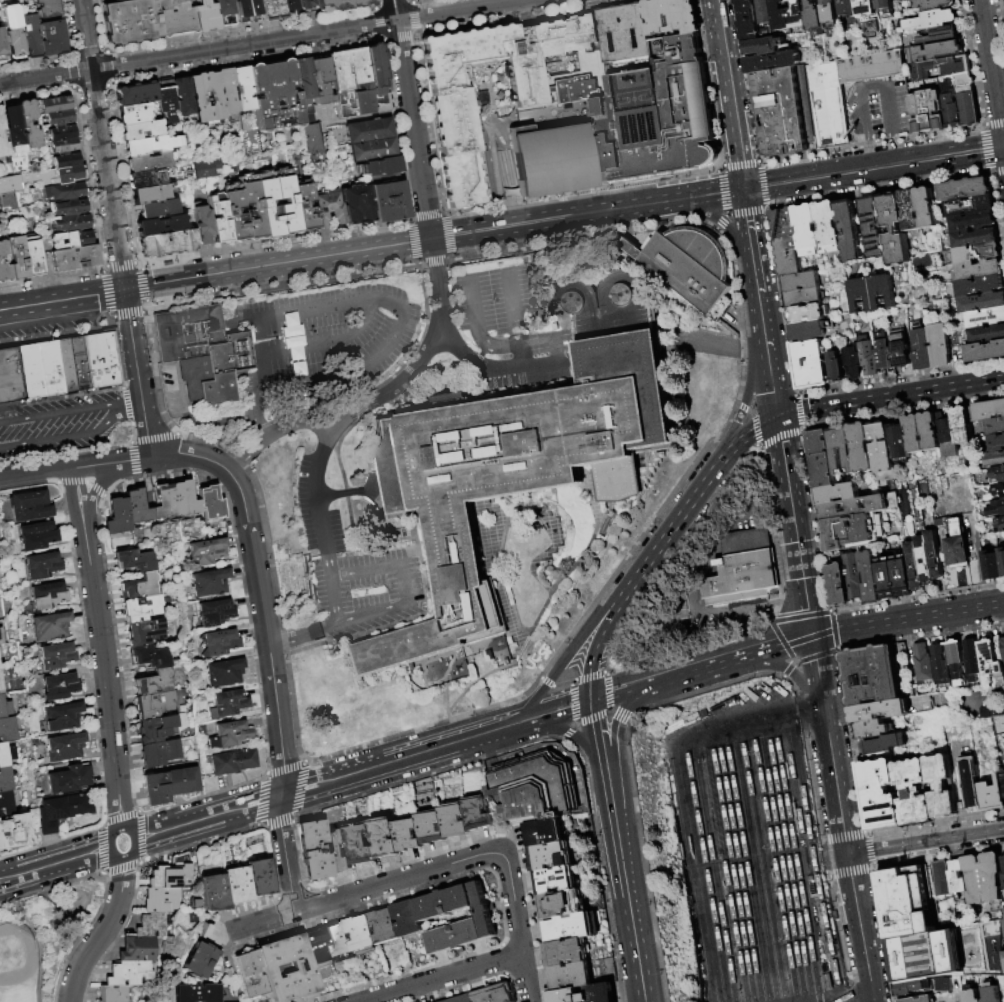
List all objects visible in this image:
road: (93, 2)
building: (304, 4)
building: (339, 4)
building: (928, 4)
building: (289, 7)
building: (847, 8)
building: (865, 8)
building: (886, 8)
building: (46, 9)
building: (270, 9)
building: (247, 10)
road: (394, 10)
road: (460, 10)
building: (223, 12)
building: (764, 12)
building: (831, 13)
building: (203, 15)
building: (789, 15)
building: (174, 16)
building: (672, 16)
building: (815, 17)
building: (931, 19)
building: (748, 20)
building: (130, 21)
road: (236, 23)
building: (12, 31)
building: (626, 34)
building: (29, 35)
building: (938, 36)
building: (51, 38)
building: (2, 46)
building: (762, 47)
road: (197, 52)
building: (933, 52)
building: (772, 62)
building: (954, 67)
building: (872, 68)
building: (922, 71)
road: (992, 75)
building: (378, 78)
road: (726, 78)
building: (320, 80)
building: (964, 80)
building: (302, 81)
building: (351, 83)
road: (871, 83)
building: (243, 90)
building: (227, 91)
building: (136, 95)
building: (274, 96)
building: (183, 97)
building: (205, 98)
building: (54, 105)
building: (829, 105)
building: (166, 106)
building: (952, 106)
building: (969, 106)
parking lot: (878, 107)
road: (887, 108)
building: (925, 109)
building: (782, 110)
road: (863, 111)
building: (133, 113)
building: (674, 117)
building: (59, 118)
building: (23, 124)
building: (937, 124)
road: (413, 129)
building: (141, 130)
building: (12, 132)
building: (61, 133)
building: (458, 133)
building: (2, 139)
building: (312, 139)
building: (370, 140)
traffic signals: (1003, 145)
building: (63, 146)
building: (150, 146)
road: (893, 148)
road: (870, 151)
building: (606, 159)
building: (65, 161)
building: (550, 161)
building: (148, 162)
road: (873, 165)
building: (379, 167)
building: (202, 168)
road: (740, 172)
building: (60, 176)
building: (147, 178)
building: (17, 181)
traffic signals: (743, 187)
building: (966, 189)
building: (63, 192)
building: (151, 194)
road: (705, 195)
building: (8, 200)
building: (389, 202)
building: (358, 204)
building: (970, 206)
building: (268, 207)
building: (66, 208)
building: (927, 208)
building: (330, 209)
building: (159, 210)
building: (911, 210)
building: (219, 218)
road: (548, 219)
building: (972, 222)
building: (69, 223)
road: (723, 224)
building: (161, 226)
building: (203, 226)
building: (828, 227)
building: (875, 227)
road: (114, 229)
building: (808, 230)
building: (895, 230)
building: (849, 231)
building: (975, 238)
traffic signals: (430, 239)
road: (751, 239)
building: (70, 240)
building: (786, 242)
building: (167, 244)
building: (3, 250)
building: (977, 254)
building: (16, 258)
building: (32, 258)
building: (74, 258)
building: (690, 267)
building: (979, 270)
building: (4, 273)
road: (215, 274)
building: (802, 282)
building: (979, 286)
traffic signals: (124, 289)
building: (872, 294)
building: (805, 298)
building: (981, 303)
road: (514, 306)
parking lot: (500, 312)
building: (808, 314)
road: (761, 315)
road: (402, 317)
building: (984, 318)
building: (808, 331)
road: (481, 333)
building: (986, 335)
road: (325, 342)
parking lot: (319, 343)
building: (939, 346)
building: (203, 348)
building: (901, 348)
road: (462, 349)
building: (922, 350)
building: (985, 352)
building: (884, 355)
building: (868, 357)
building: (101, 360)
road: (550, 360)
building: (853, 363)
building: (78, 364)
building: (810, 365)
building: (65, 366)
road: (506, 367)
building: (836, 369)
building: (40, 370)
road: (771, 377)
road: (260, 378)
building: (10, 379)
road: (747, 395)
road: (383, 396)
road: (890, 397)
building: (449, 399)
road: (128, 402)
building: (989, 411)
road: (57, 413)
building: (972, 415)
traffic signals: (778, 416)
parking lot: (57, 424)
building: (962, 425)
building: (996, 427)
road: (750, 430)
road: (333, 431)
building: (922, 433)
road: (64, 436)
building: (947, 437)
building: (899, 442)
building: (997, 443)
building: (860, 448)
building: (880, 448)
building: (847, 453)
road: (185, 454)
building: (821, 459)
building: (994, 459)
building: (523, 461)
road: (75, 467)
building: (997, 473)
building: (999, 489)
building: (837, 494)
road: (90, 499)
building: (186, 499)
building: (891, 500)
building: (165, 503)
building: (212, 503)
building: (29, 506)
road: (79, 506)
building: (138, 507)
building: (854, 508)
building: (996, 509)
building: (118, 517)
building: (1000, 522)
road: (673, 525)
road: (795, 526)
road: (554, 528)
building: (956, 528)
building: (853, 532)
building: (36, 535)
road: (323, 538)
building: (745, 541)
building: (208, 552)
building: (957, 553)
building: (935, 555)
building: (925, 560)
building: (1001, 560)
building: (136, 561)
parking lot: (353, 563)
building: (41, 565)
building: (992, 566)
building: (914, 567)
road: (365, 571)
building: (854, 577)
building: (871, 578)
building: (739, 580)
building: (895, 580)
road: (500, 581)
building: (211, 583)
road: (404, 584)
building: (839, 585)
building: (140, 587)
building: (47, 595)
road: (786, 599)
road: (544, 607)
building: (141, 609)
road: (717, 609)
building: (216, 613)
road: (372, 613)
road: (908, 618)
building: (49, 625)
building: (146, 632)
road: (303, 634)
traffic signals: (813, 636)
building: (1, 637)
building: (220, 643)
building: (1003, 644)
road: (772, 647)
road: (595, 648)
building: (55, 655)
building: (150, 657)
road: (567, 657)
building: (493, 660)
building: (973, 660)
building: (990, 660)
building: (957, 661)
building: (924, 663)
building: (1, 665)
building: (941, 666)
road: (697, 669)
road: (783, 669)
road: (818, 669)
building: (225, 673)
building: (872, 675)
building: (409, 681)
building: (154, 683)
road: (272, 683)
building: (58, 686)
building: (0, 688)
road: (627, 690)
road: (445, 697)
traffic signals: (591, 701)
building: (154, 705)
building: (228, 705)
building: (4, 706)
building: (993, 710)
road: (556, 711)
building: (880, 711)
building: (61, 715)
building: (7, 729)
building: (157, 729)
building: (872, 729)
road: (595, 730)
road: (565, 731)
building: (230, 735)
building: (886, 744)
building: (64, 746)
road: (617, 749)
building: (6, 754)
building: (160, 754)
building: (233, 762)
building: (1003, 775)
building: (6, 778)
building: (67, 778)
road: (115, 778)
road: (835, 778)
building: (972, 781)
building: (170, 785)
building: (536, 787)
building: (941, 787)
building: (880, 791)
building: (914, 791)
building: (993, 796)
road: (609, 798)
road: (692, 800)
road: (260, 801)
building: (5, 803)
building: (60, 810)
building: (479, 813)
building: (456, 821)
building: (433, 827)
building: (14, 831)
building: (546, 832)
building: (310, 833)
building: (409, 835)
building: (386, 837)
road: (925, 842)
building: (362, 844)
building: (338, 851)
building: (551, 856)
building: (1003, 861)
building: (315, 864)
road: (435, 867)
building: (171, 876)
building: (259, 878)
building: (941, 878)
building: (956, 878)
building: (983, 878)
building: (556, 880)
building: (1003, 880)
building: (902, 882)
building: (235, 885)
building: (212, 893)
building: (160, 900)
building: (563, 904)
building: (409, 919)
road: (633, 919)
building: (481, 920)
building: (1002, 921)
building: (909, 924)
building: (150, 925)
building: (386, 926)
building: (572, 927)
road: (860, 928)
building: (362, 934)
park: (41, 938)
building: (338, 940)
building: (136, 950)
building: (567, 952)
building: (318, 955)
building: (196, 960)
park: (17, 961)
building: (1002, 961)
building: (268, 965)
road: (230, 967)
building: (129, 974)
building: (248, 975)
building: (572, 976)
road: (441, 977)
building: (941, 983)
building: (911, 987)
building: (195, 993)
building: (601, 993)
building: (112, 994)
building: (494, 994)
building: (990, 994)
building: (568, 996)
building: (970, 996)
road: (849, 998)
building: (461, 999)
building: (918, 999)

